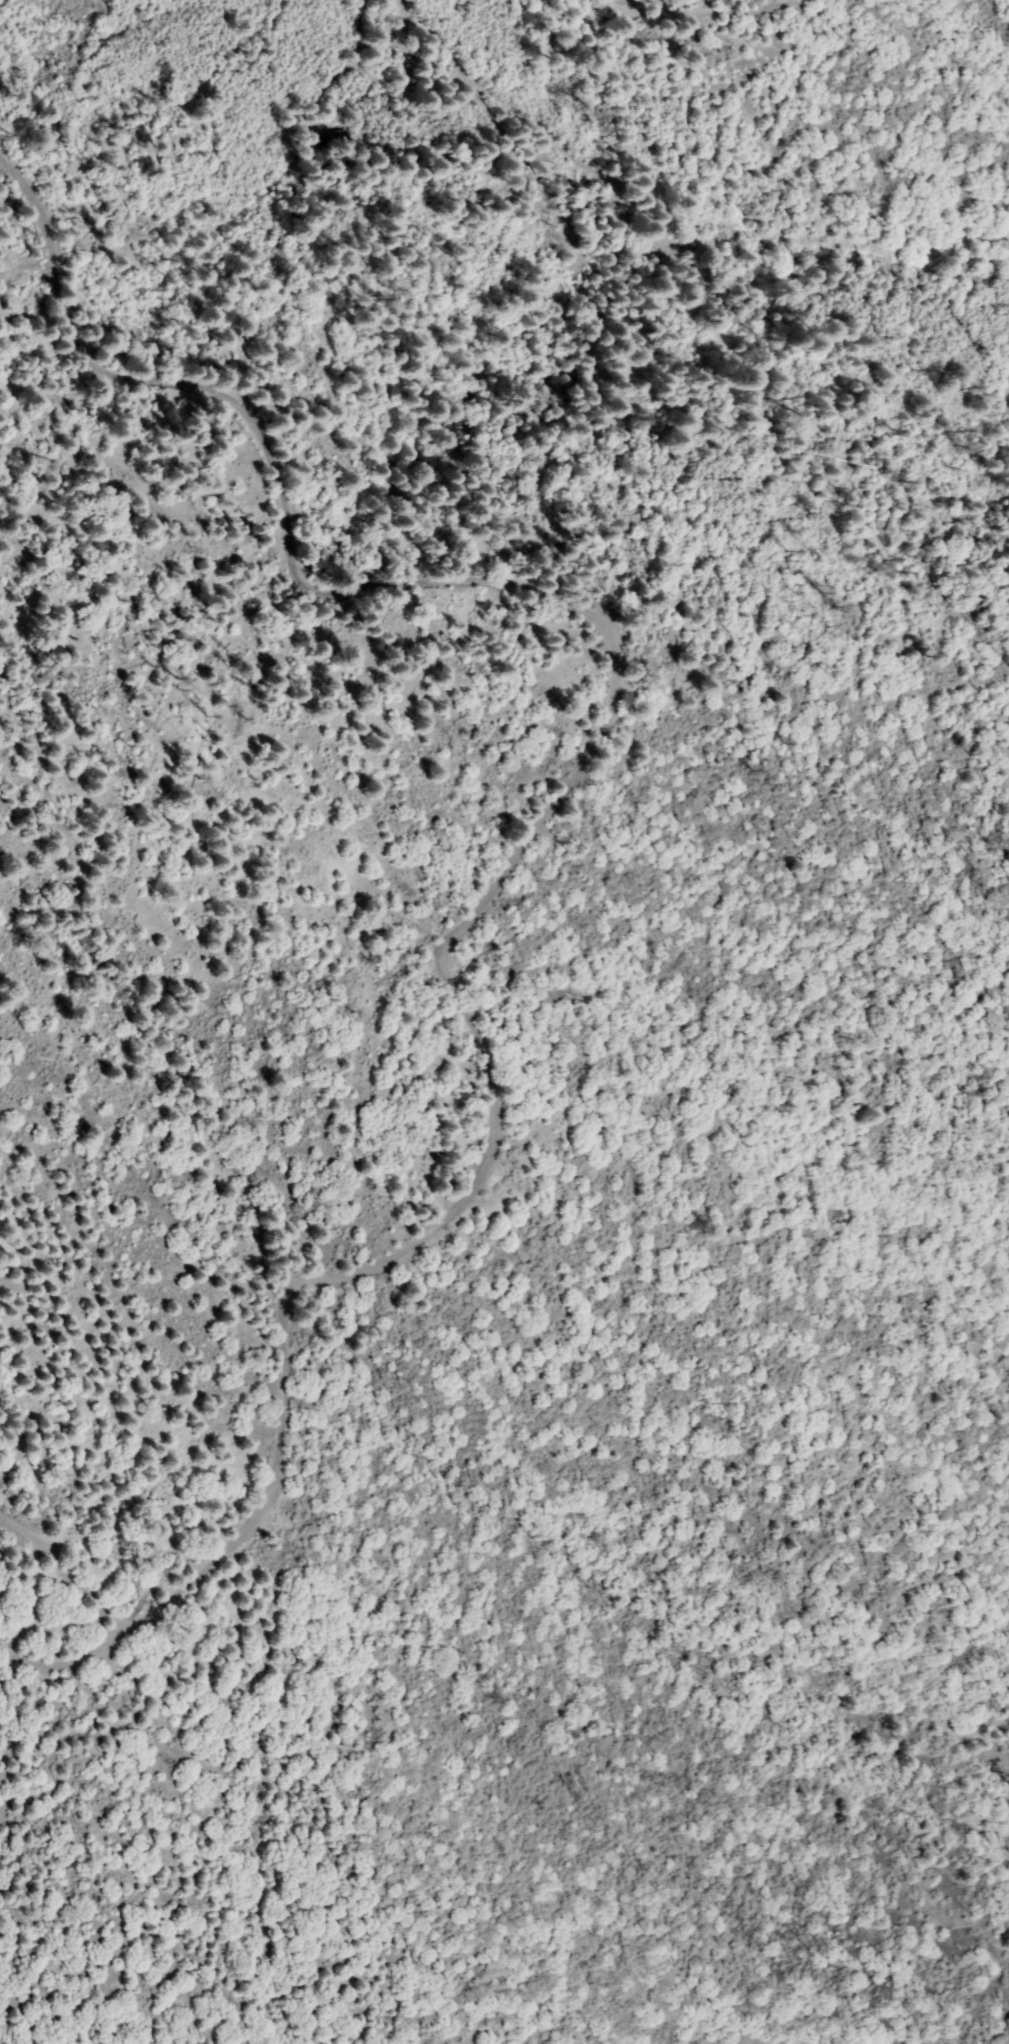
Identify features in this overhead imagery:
road: (699, 10)
road: (414, 27)
road: (535, 854)

